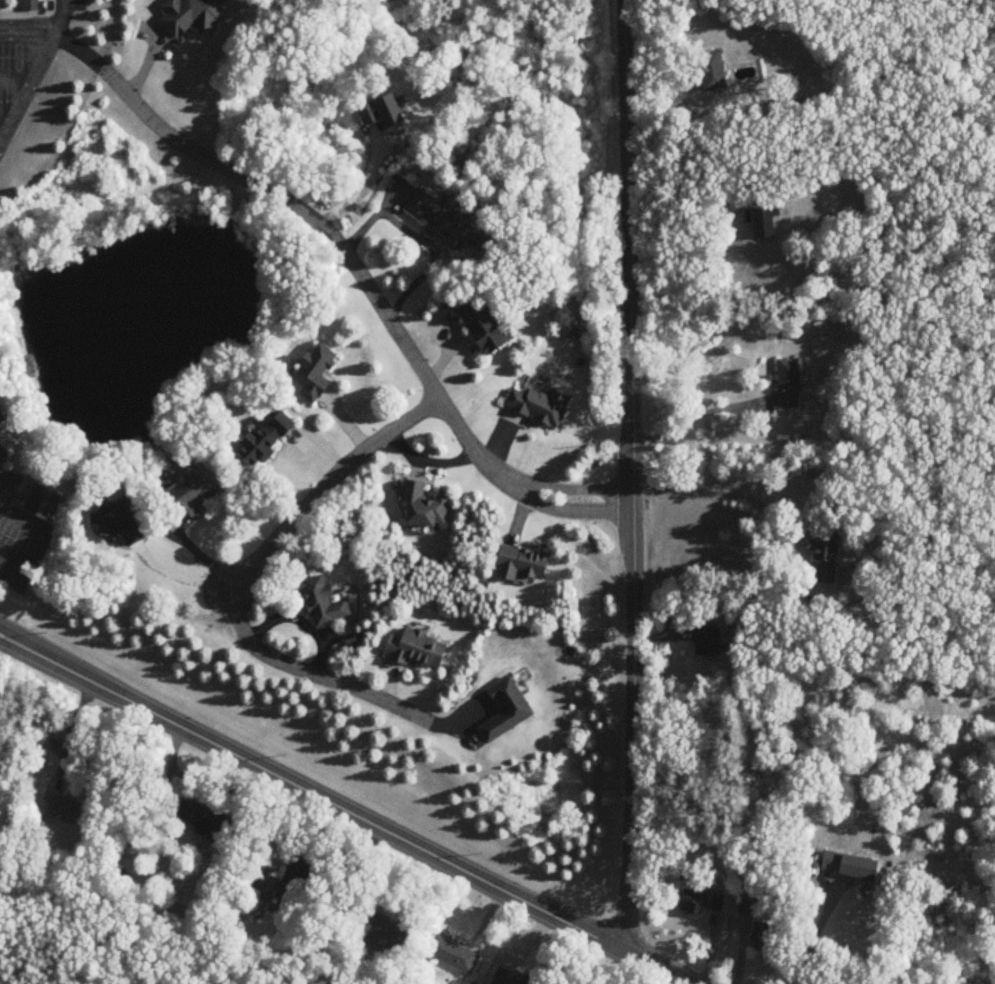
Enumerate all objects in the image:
building: (31, 5)
building: (195, 16)
road: (56, 17)
road: (27, 26)
building: (714, 72)
road: (15, 76)
road: (26, 82)
road: (2, 121)
road: (357, 192)
building: (448, 222)
building: (767, 224)
road: (695, 269)
road: (355, 271)
building: (479, 326)
building: (317, 374)
building: (790, 385)
building: (539, 408)
building: (4, 411)
road: (688, 418)
building: (269, 439)
building: (2, 449)
road: (630, 477)
road: (5, 480)
road: (326, 490)
road: (710, 490)
building: (194, 494)
building: (44, 504)
building: (427, 509)
road: (35, 535)
building: (829, 557)
building: (526, 566)
building: (326, 604)
building: (419, 651)
road: (307, 671)
building: (509, 712)
road: (70, 729)
road: (340, 809)
building: (63, 810)
building: (203, 819)
building: (852, 867)
building: (270, 887)
building: (701, 904)
building: (749, 906)
building: (765, 937)
road: (816, 943)
building: (454, 955)
road: (621, 969)
building: (512, 978)

